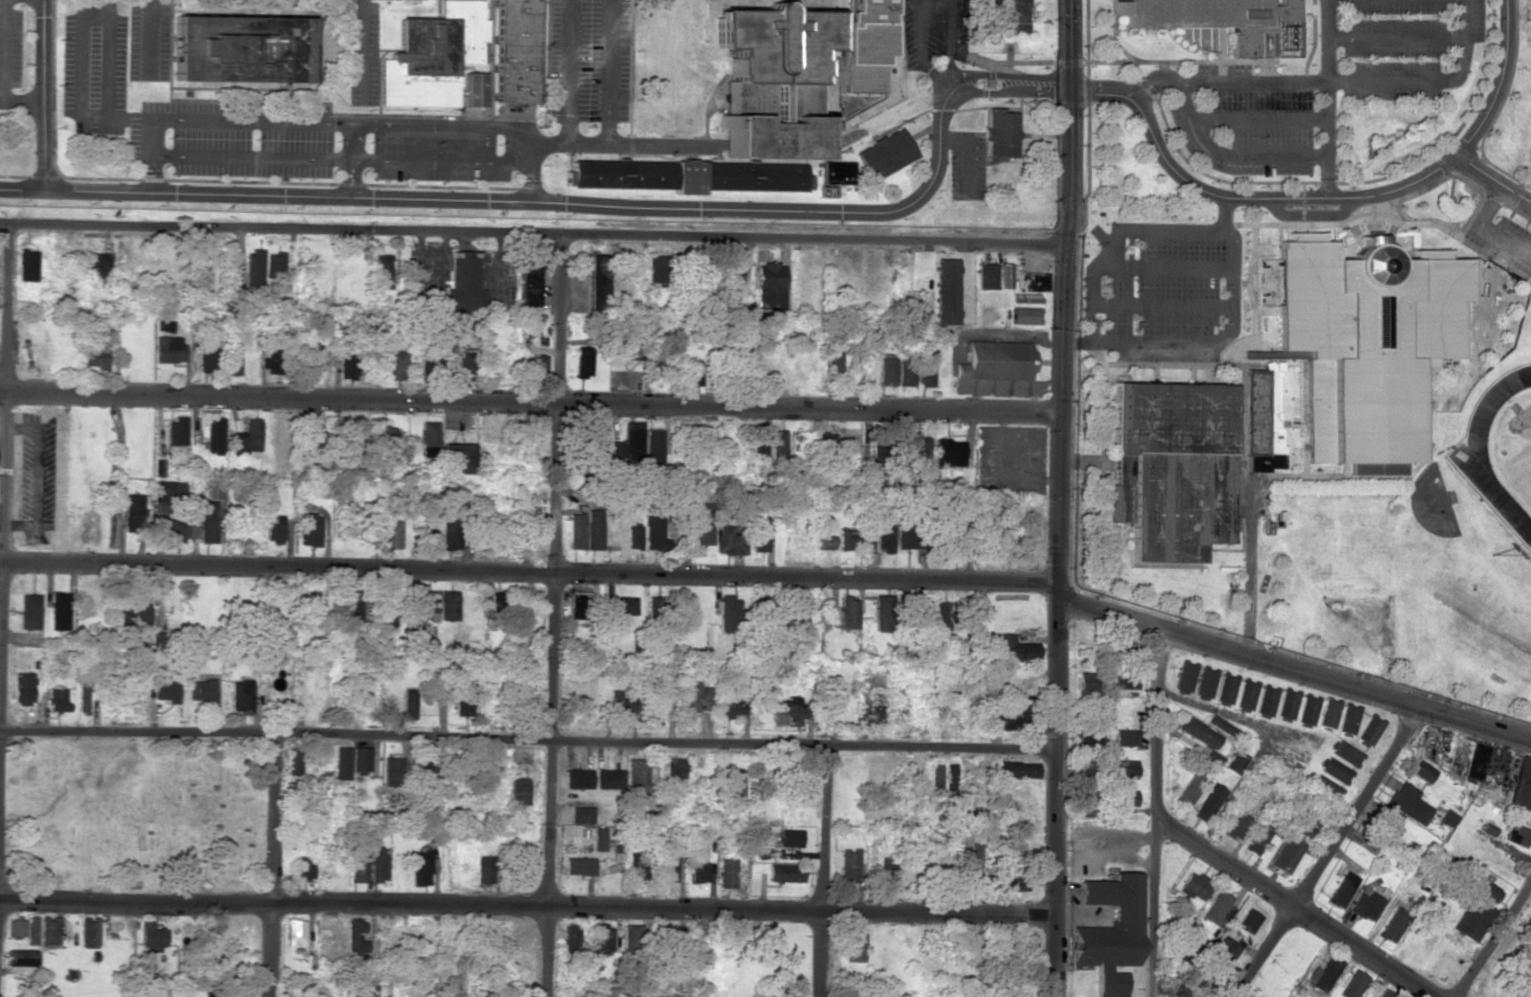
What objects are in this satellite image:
road: (776, 1)
road: (951, 1)
road: (438, 9)
building: (1007, 16)
building: (1207, 18)
parking lot: (932, 30)
road: (951, 31)
road: (1112, 31)
building: (1281, 32)
road: (1312, 37)
road: (919, 38)
road: (1395, 38)
road: (148, 39)
parking lot: (148, 42)
building: (864, 43)
building: (240, 48)
parking lot: (10, 50)
building: (517, 50)
road: (362, 52)
parking lot: (363, 53)
road: (80, 54)
building: (433, 56)
parking lot: (587, 60)
road: (106, 67)
road: (568, 72)
road: (2, 73)
road: (608, 73)
road: (1000, 75)
road: (630, 77)
building: (771, 80)
road: (1355, 81)
road: (1499, 82)
parking lot: (1324, 84)
building: (472, 90)
road: (54, 91)
road: (46, 94)
road: (1325, 99)
road: (333, 113)
road: (92, 116)
parking lot: (186, 116)
road: (130, 117)
road: (1257, 119)
road: (253, 120)
road: (440, 124)
building: (1000, 133)
road: (625, 146)
road: (1205, 146)
building: (884, 154)
road: (966, 154)
road: (154, 155)
parking lot: (437, 156)
road: (252, 157)
road: (351, 160)
road: (440, 160)
road: (530, 164)
parking lot: (966, 164)
building: (836, 172)
building: (686, 176)
road: (1492, 179)
road: (265, 182)
road: (1243, 198)
road: (576, 204)
road: (1223, 214)
road: (1309, 215)
road: (1484, 229)
parking lot: (1503, 233)
road: (532, 235)
road: (1115, 238)
building: (274, 264)
building: (27, 265)
building: (98, 267)
building: (254, 267)
road: (1161, 267)
building: (656, 269)
building: (382, 271)
building: (732, 275)
building: (985, 276)
building: (1005, 276)
building: (528, 282)
building: (1031, 283)
building: (596, 284)
building: (462, 285)
building: (768, 285)
road: (1063, 290)
parking lot: (1162, 290)
building: (943, 294)
building: (1024, 298)
road: (1161, 304)
building: (1025, 315)
building: (164, 325)
road: (1199, 342)
building: (1366, 343)
building: (624, 344)
building: (169, 349)
building: (96, 357)
building: (307, 358)
building: (209, 359)
building: (273, 359)
building: (995, 359)
building: (232, 362)
building: (583, 362)
building: (833, 362)
building: (466, 364)
building: (396, 365)
building: (652, 365)
building: (347, 366)
building: (924, 367)
building: (886, 370)
building: (905, 372)
building: (692, 373)
road: (529, 401)
building: (1263, 420)
building: (357, 430)
building: (175, 431)
road: (5, 434)
building: (428, 434)
building: (213, 435)
building: (382, 435)
building: (315, 437)
building: (247, 439)
building: (599, 440)
building: (797, 441)
building: (759, 442)
building: (778, 442)
building: (627, 443)
building: (916, 445)
building: (653, 447)
building: (825, 447)
building: (947, 450)
building: (878, 455)
track: (1467, 457)
building: (458, 459)
building: (1171, 467)
building: (157, 468)
park: (1521, 470)
building: (168, 492)
building: (133, 512)
building: (207, 522)
building: (700, 524)
building: (311, 529)
building: (174, 530)
building: (448, 530)
building: (884, 530)
building: (576, 531)
building: (593, 531)
building: (653, 531)
building: (274, 532)
building: (390, 532)
building: (760, 534)
building: (633, 537)
building: (954, 537)
building: (823, 538)
building: (847, 538)
building: (906, 538)
building: (728, 541)
building: (867, 542)
road: (528, 572)
road: (1058, 592)
building: (498, 600)
building: (86, 601)
building: (426, 605)
building: (448, 605)
building: (623, 605)
building: (579, 606)
building: (351, 607)
building: (656, 607)
building: (799, 609)
building: (29, 611)
building: (59, 611)
building: (896, 611)
building: (848, 612)
building: (943, 613)
building: (131, 614)
building: (726, 614)
road: (553, 616)
building: (385, 621)
building: (421, 645)
building: (1016, 649)
building: (1122, 665)
road: (1295, 667)
building: (1184, 675)
building: (1204, 682)
building: (1086, 683)
building: (1225, 687)
building: (23, 688)
building: (200, 690)
building: (166, 692)
building: (1245, 694)
building: (83, 695)
building: (240, 696)
building: (653, 696)
building: (693, 696)
building: (57, 699)
building: (1265, 700)
building: (621, 703)
building: (730, 703)
building: (1287, 703)
building: (408, 704)
building: (461, 707)
building: (1307, 709)
building: (791, 710)
building: (1328, 712)
building: (935, 716)
building: (948, 717)
building: (960, 717)
building: (1347, 718)
building: (1013, 719)
building: (1221, 726)
building: (1369, 729)
building: (1198, 732)
building: (1088, 734)
road: (526, 737)
building: (1124, 738)
building: (1344, 753)
building: (359, 759)
building: (1234, 762)
building: (340, 763)
building: (1472, 763)
building: (674, 769)
building: (1017, 769)
building: (1124, 769)
building: (1333, 770)
building: (1421, 770)
building: (392, 771)
building: (428, 771)
building: (636, 773)
building: (935, 778)
building: (577, 779)
building: (609, 779)
building: (733, 784)
building: (1189, 786)
building: (1521, 786)
building: (1322, 789)
building: (516, 791)
building: (1090, 798)
building: (1122, 798)
road: (1053, 799)
building: (1207, 802)
building: (1409, 803)
road: (1156, 811)
building: (581, 815)
building: (1448, 818)
building: (1235, 824)
building: (1303, 825)
building: (1388, 826)
building: (1518, 836)
building: (790, 838)
building: (598, 839)
building: (1255, 841)
building: (1015, 849)
road: (1324, 851)
building: (1284, 854)
building: (668, 863)
road: (271, 865)
building: (377, 865)
building: (970, 865)
building: (579, 866)
building: (849, 866)
building: (357, 867)
building: (302, 868)
building: (420, 868)
building: (635, 868)
building: (484, 869)
road: (829, 870)
building: (697, 872)
building: (727, 873)
building: (786, 873)
building: (885, 878)
building: (1017, 884)
building: (1194, 886)
building: (1341, 889)
building: (1485, 890)
road: (1292, 906)
building: (1365, 906)
road: (526, 908)
building: (1217, 909)
building: (1124, 915)
building: (1470, 919)
building: (1248, 920)
building: (1392, 925)
building: (15, 928)
building: (30, 930)
building: (47, 931)
building: (88, 931)
building: (294, 933)
building: (630, 936)
building: (150, 937)
building: (354, 937)
building: (602, 938)
building: (567, 940)
road: (1495, 941)
building: (853, 947)
building: (1226, 951)
building: (21, 958)
building: (1323, 973)
building: (1352, 984)
building: (1386, 993)
building: (212, 994)
building: (1186, 994)
building: (1517, 995)

